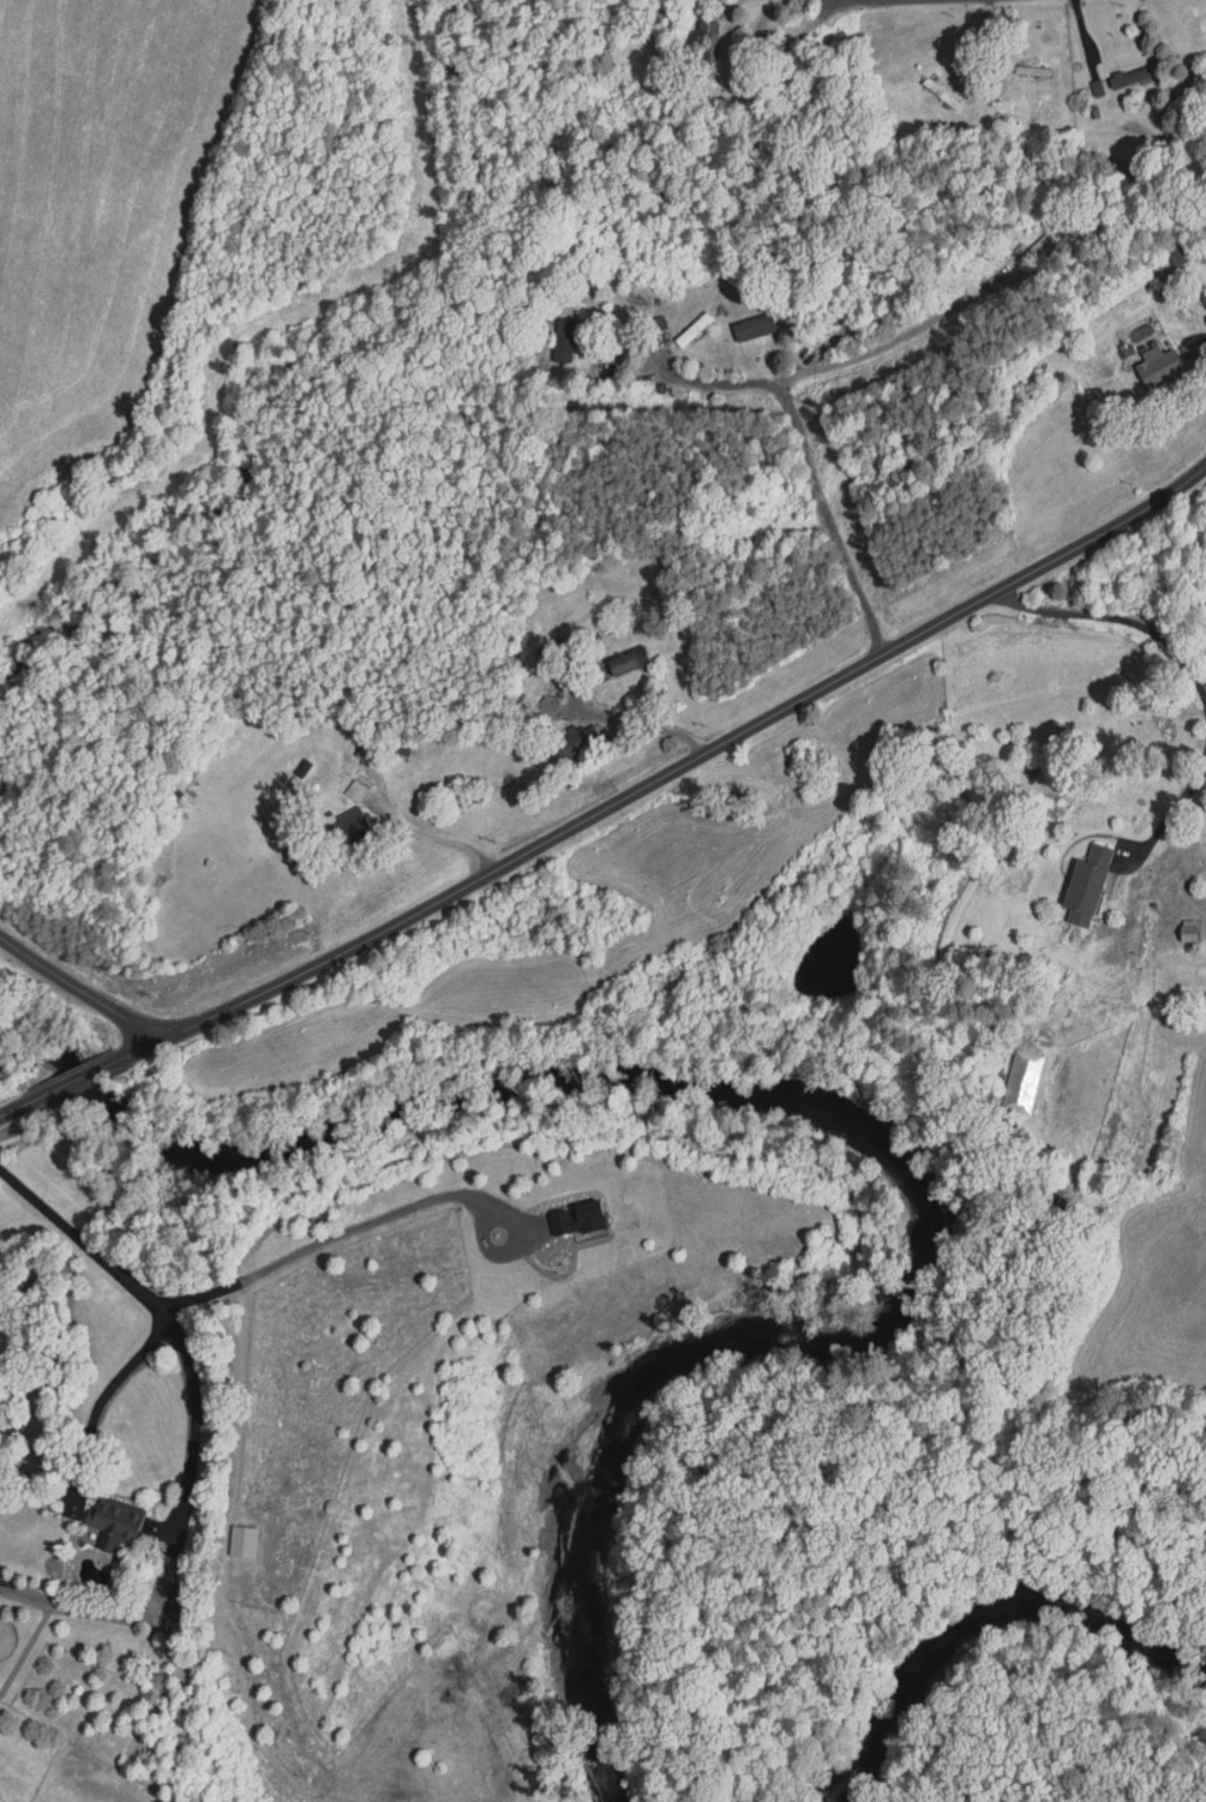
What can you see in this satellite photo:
building: (706, 40)
building: (1126, 79)
building: (940, 94)
building: (1174, 255)
building: (691, 330)
building: (562, 341)
building: (1157, 367)
road: (791, 370)
road: (826, 515)
road: (1116, 618)
building: (622, 665)
building: (562, 670)
building: (545, 711)
building: (570, 744)
building: (354, 792)
road: (610, 804)
road: (1175, 808)
building: (346, 830)
building: (1085, 887)
building: (1187, 930)
road: (78, 989)
building: (1021, 1082)
road: (328, 1240)
road: (166, 1325)
road: (107, 1394)
building: (109, 1523)

